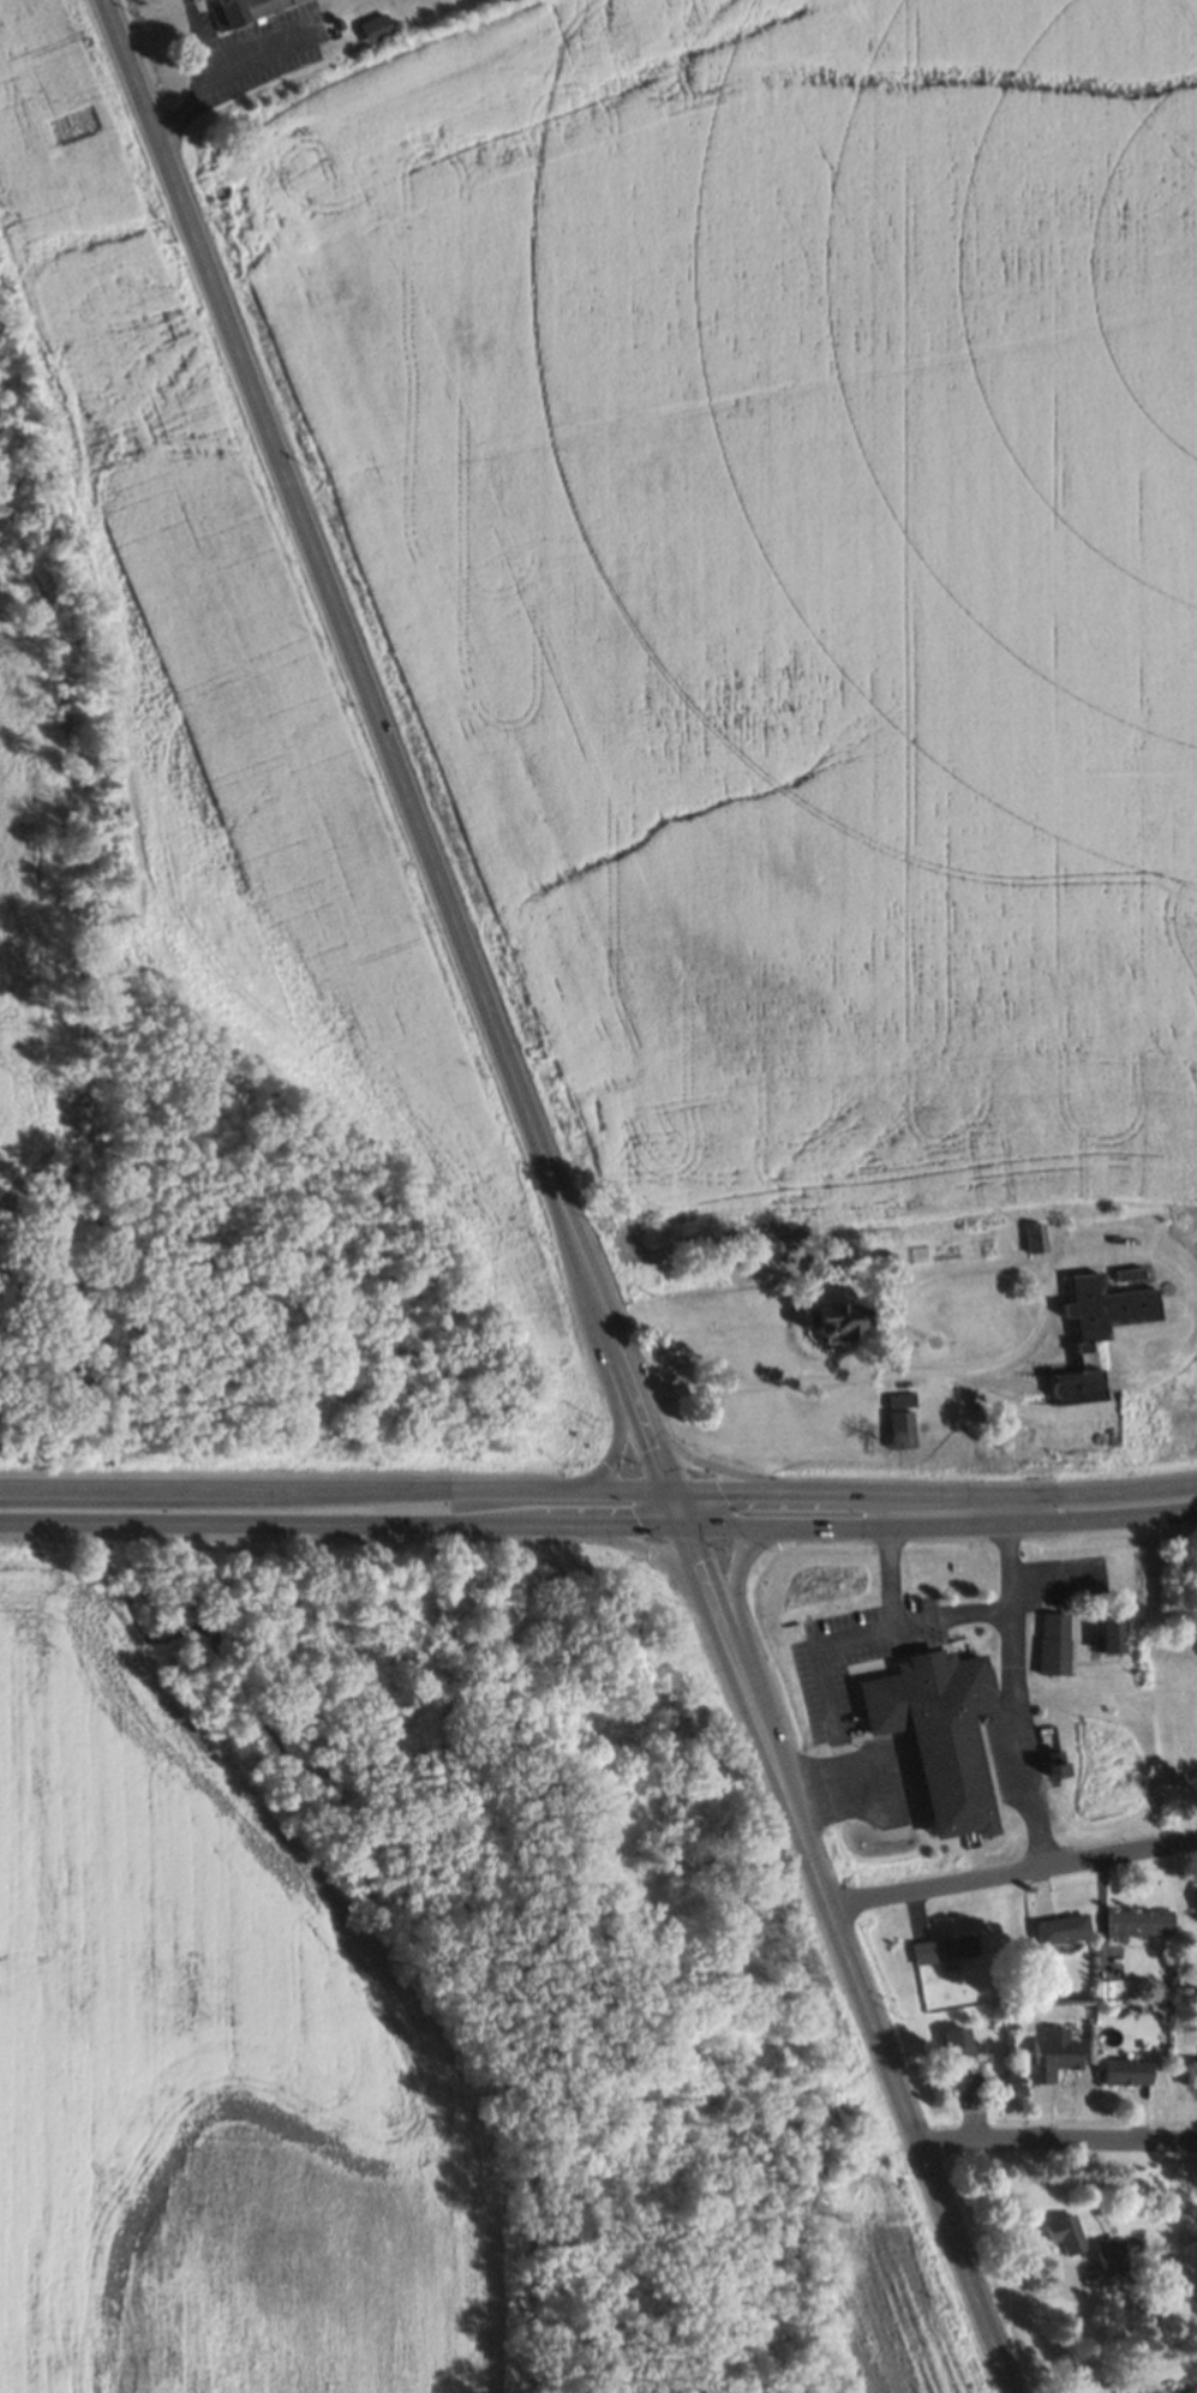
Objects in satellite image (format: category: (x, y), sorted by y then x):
building: (240, 10)
building: (376, 26)
road: (337, 623)
building: (1034, 1237)
building: (882, 1257)
building: (1106, 1308)
building: (838, 1317)
road: (602, 1320)
road: (1016, 1340)
road: (606, 1381)
building: (1078, 1386)
road: (633, 1402)
building: (899, 1426)
road: (652, 1452)
road: (728, 1471)
road: (333, 1488)
traffic signals: (666, 1491)
road: (932, 1496)
road: (672, 1507)
road: (339, 1520)
road: (938, 1521)
traffic signals: (678, 1522)
road: (650, 1545)
road: (888, 1556)
road: (701, 1584)
road: (737, 1604)
road: (867, 1622)
building: (1109, 1635)
building: (1052, 1641)
road: (1016, 1682)
road: (738, 1685)
building: (938, 1729)
road: (1010, 1872)
building: (1195, 1897)
building: (1138, 1921)
building: (1061, 1927)
building: (942, 1948)
building: (1051, 2054)
road: (880, 2058)
building: (958, 2058)
building: (1125, 2070)
building: (1192, 2072)
road: (1055, 2135)
building: (1061, 2232)
building: (1108, 2255)
building: (1184, 2391)

